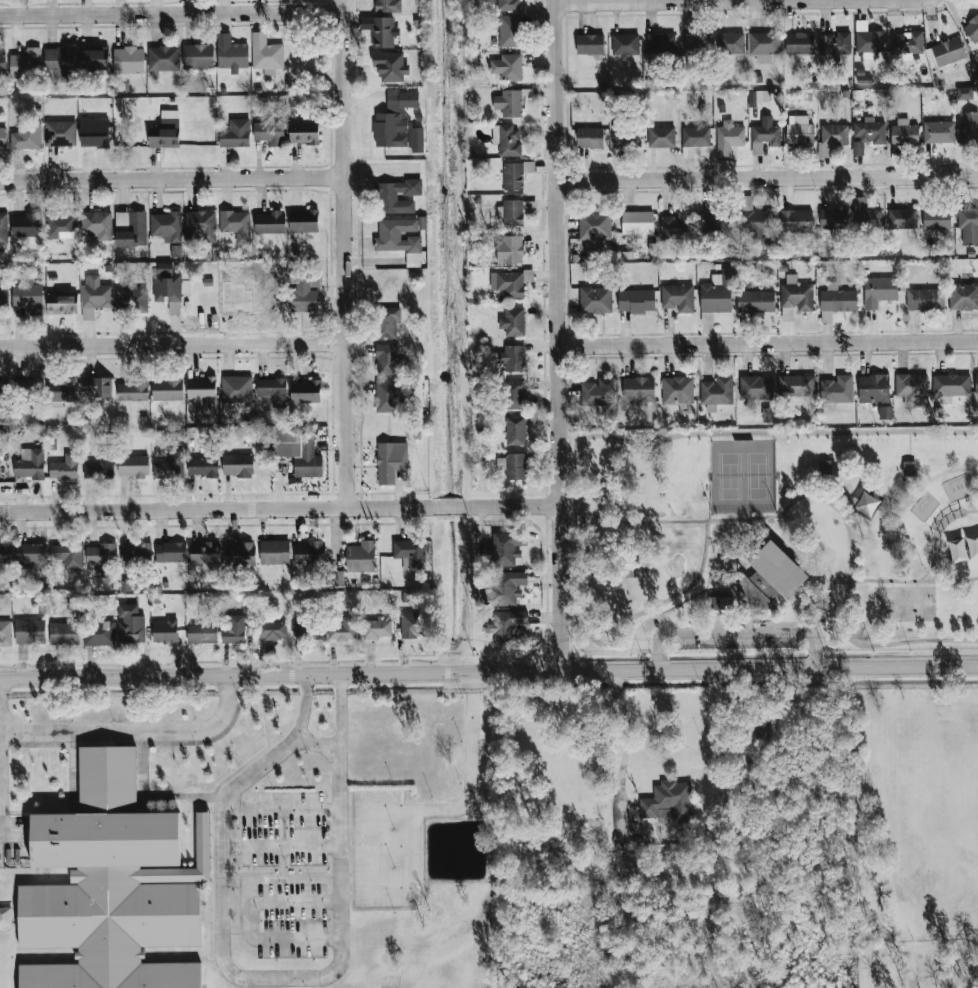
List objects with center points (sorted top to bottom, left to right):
road: (682, 1)
building: (508, 5)
building: (387, 6)
road: (170, 13)
building: (972, 29)
building: (509, 31)
building: (382, 32)
building: (867, 40)
building: (909, 42)
building: (732, 43)
building: (799, 43)
building: (834, 43)
building: (590, 44)
building: (625, 45)
building: (660, 45)
building: (695, 45)
building: (763, 45)
building: (266, 52)
building: (945, 52)
building: (1, 55)
building: (233, 55)
building: (197, 56)
building: (163, 58)
building: (94, 59)
building: (129, 60)
building: (26, 63)
building: (59, 64)
building: (508, 67)
building: (964, 93)
building: (755, 96)
building: (509, 103)
building: (398, 122)
building: (797, 127)
building: (969, 127)
building: (165, 131)
building: (871, 131)
building: (94, 132)
building: (904, 132)
building: (939, 132)
building: (60, 133)
building: (235, 133)
building: (269, 133)
building: (304, 133)
building: (626, 134)
building: (834, 134)
building: (765, 135)
building: (27, 136)
building: (661, 137)
building: (696, 137)
building: (3, 138)
building: (590, 138)
building: (728, 139)
building: (506, 140)
building: (512, 176)
road: (766, 177)
road: (171, 180)
building: (388, 197)
building: (511, 212)
building: (865, 215)
building: (832, 218)
building: (901, 218)
building: (936, 219)
building: (755, 220)
building: (304, 221)
building: (715, 221)
building: (796, 221)
building: (269, 222)
building: (637, 223)
building: (97, 224)
building: (678, 224)
building: (26, 225)
building: (236, 225)
building: (968, 225)
building: (61, 226)
building: (166, 226)
building: (595, 226)
building: (200, 227)
building: (3, 229)
building: (131, 229)
building: (400, 239)
building: (509, 250)
road: (342, 254)
building: (508, 283)
building: (168, 286)
building: (879, 291)
building: (717, 293)
building: (304, 294)
building: (797, 294)
building: (95, 296)
building: (963, 296)
building: (28, 297)
building: (678, 297)
building: (837, 299)
building: (925, 299)
building: (3, 300)
building: (595, 300)
building: (131, 301)
building: (636, 301)
building: (756, 301)
building: (61, 304)
building: (387, 322)
building: (513, 322)
road: (554, 336)
road: (766, 342)
road: (172, 345)
building: (513, 358)
building: (389, 360)
building: (976, 383)
building: (951, 384)
building: (796, 385)
building: (97, 387)
building: (2, 388)
building: (28, 388)
building: (167, 388)
building: (874, 388)
building: (912, 388)
building: (63, 389)
building: (134, 389)
building: (236, 389)
building: (638, 389)
building: (755, 389)
building: (837, 389)
building: (273, 390)
building: (677, 390)
building: (717, 391)
building: (306, 392)
building: (598, 392)
building: (203, 393)
building: (515, 394)
building: (387, 396)
building: (885, 413)
building: (515, 431)
road: (910, 447)
building: (298, 451)
road: (579, 456)
building: (391, 461)
building: (30, 464)
building: (238, 465)
building: (100, 466)
building: (133, 466)
building: (170, 466)
building: (203, 466)
building: (513, 466)
building: (825, 467)
building: (64, 468)
building: (909, 468)
park: (742, 476)
road: (825, 488)
road: (278, 508)
road: (935, 534)
road: (773, 535)
park: (776, 539)
building: (507, 547)
road: (956, 551)
building: (138, 552)
building: (170, 552)
building: (274, 552)
building: (5, 553)
building: (309, 553)
building: (31, 554)
building: (102, 554)
building: (410, 554)
building: (68, 555)
building: (206, 555)
building: (240, 555)
building: (361, 557)
building: (631, 570)
building: (341, 577)
building: (770, 578)
building: (506, 588)
road: (847, 588)
building: (720, 603)
park: (904, 604)
building: (130, 624)
building: (412, 625)
building: (507, 626)
building: (377, 629)
building: (234, 630)
building: (271, 630)
building: (343, 630)
building: (30, 631)
building: (165, 631)
building: (307, 631)
road: (737, 632)
building: (5, 633)
building: (64, 633)
building: (99, 633)
building: (202, 634)
road: (489, 672)
road: (133, 731)
building: (755, 732)
road: (319, 745)
road: (626, 748)
building: (667, 802)
road: (281, 809)
road: (387, 810)
road: (283, 841)
road: (281, 847)
road: (282, 875)
building: (112, 886)
road: (240, 903)
road: (248, 920)
road: (236, 932)
road: (264, 978)

